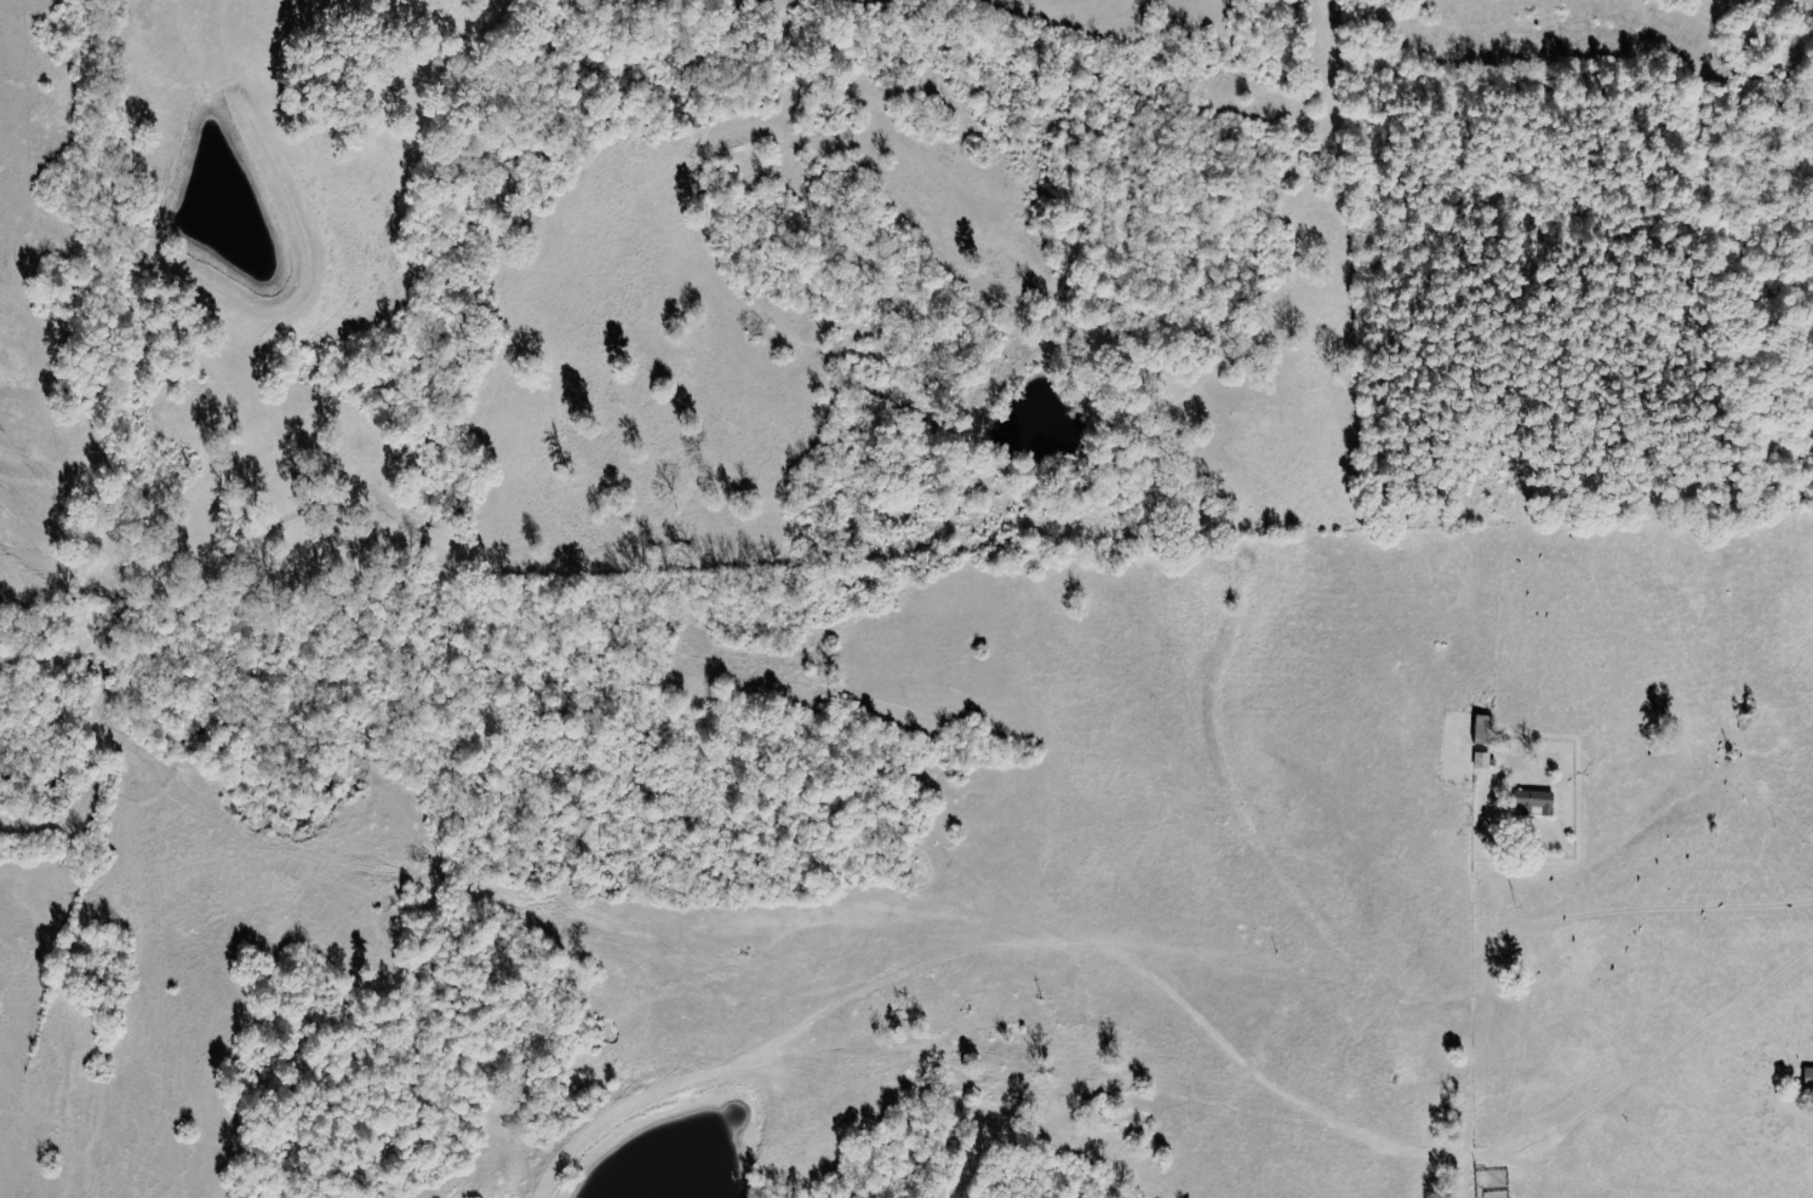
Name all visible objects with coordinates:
building: (1486, 729)
building: (1483, 760)
building: (1537, 802)
building: (1809, 1074)

